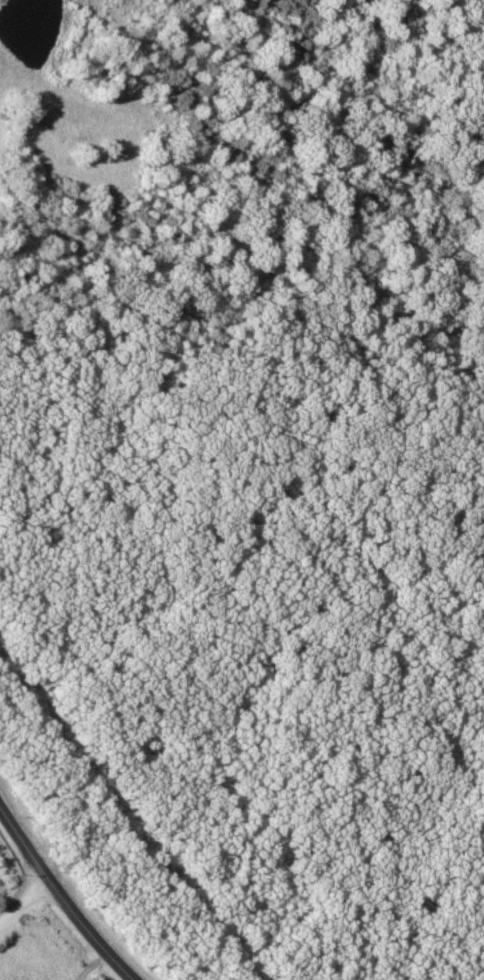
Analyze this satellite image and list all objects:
road: (57, 894)
road: (13, 899)
road: (25, 906)

